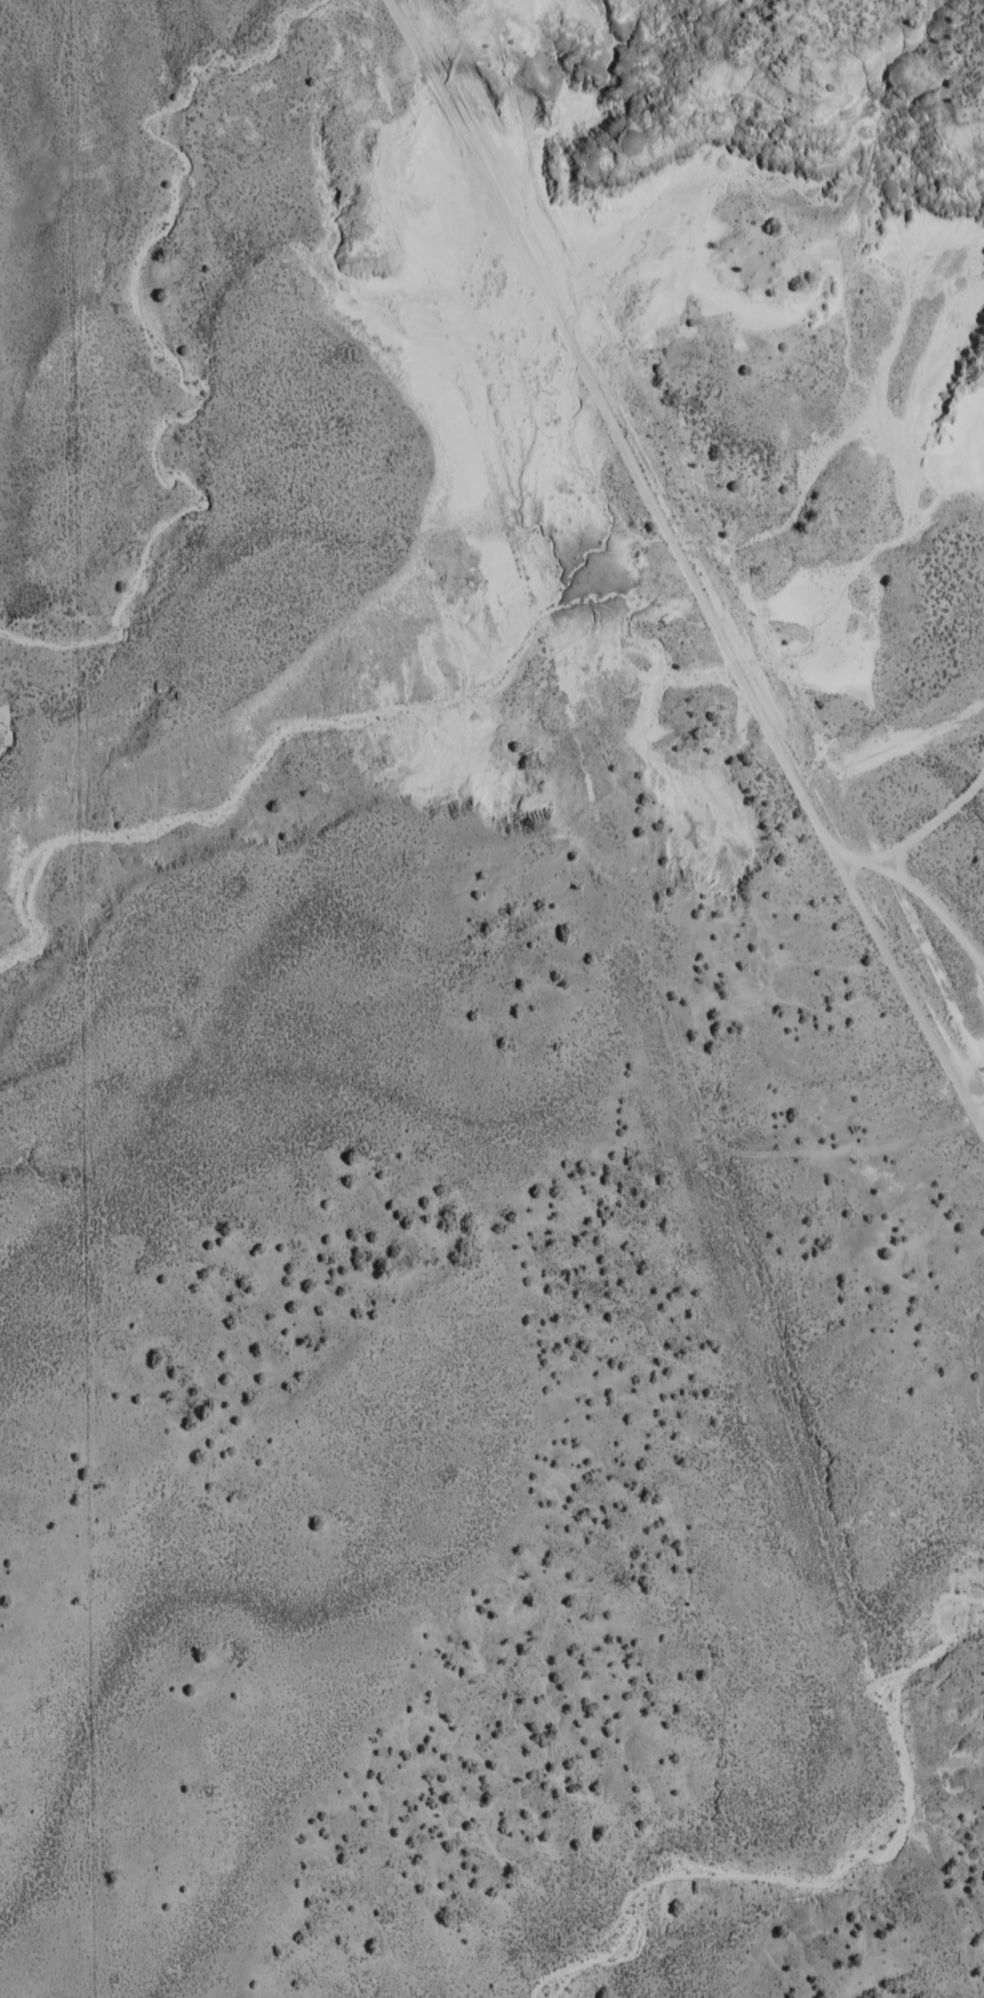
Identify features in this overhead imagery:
road: (685, 570)

